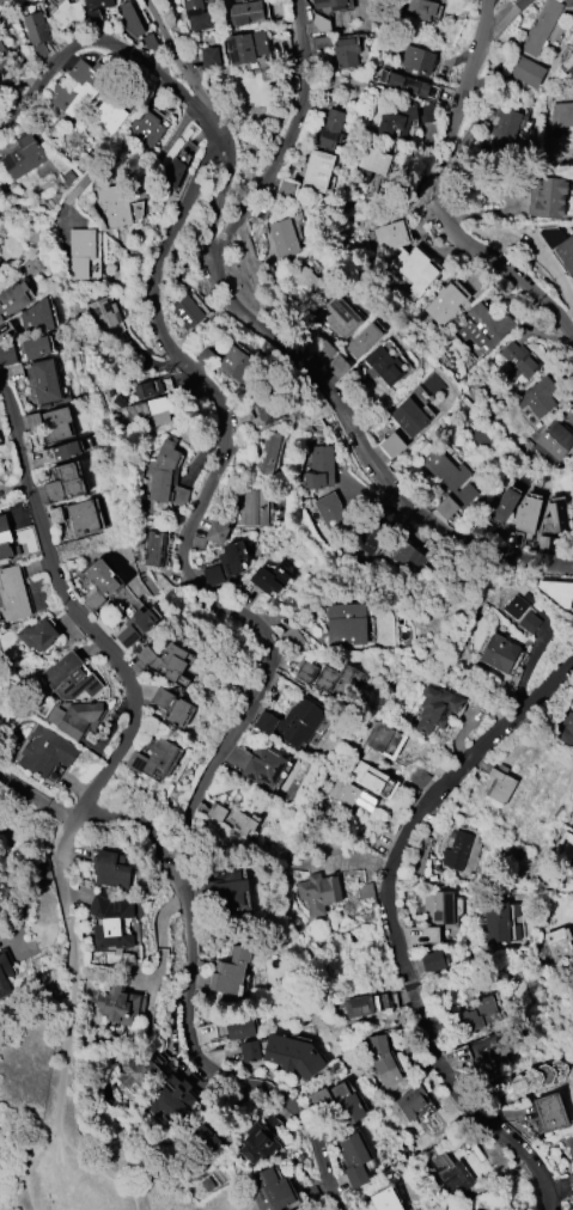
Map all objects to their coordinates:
building: (568, 2)
building: (98, 4)
building: (329, 5)
building: (419, 8)
building: (245, 12)
building: (67, 13)
building: (197, 16)
building: (130, 19)
building: (36, 27)
building: (540, 27)
road: (96, 39)
building: (245, 47)
building: (346, 50)
road: (182, 56)
building: (209, 57)
building: (5, 59)
building: (416, 60)
building: (571, 71)
building: (526, 72)
building: (409, 85)
building: (79, 86)
building: (109, 111)
building: (561, 115)
building: (402, 117)
building: (146, 128)
building: (329, 129)
building: (504, 129)
road: (285, 141)
building: (24, 157)
road: (130, 158)
building: (370, 164)
building: (172, 171)
building: (316, 171)
road: (441, 194)
building: (545, 196)
building: (114, 206)
building: (389, 236)
building: (282, 237)
building: (80, 252)
building: (566, 253)
building: (414, 269)
building: (305, 276)
building: (13, 298)
building: (444, 304)
building: (188, 312)
building: (104, 313)
building: (341, 317)
building: (36, 318)
building: (1, 319)
building: (481, 326)
building: (362, 341)
building: (35, 347)
building: (7, 356)
building: (518, 361)
building: (238, 365)
building: (383, 366)
building: (44, 381)
road: (325, 384)
building: (146, 389)
building: (537, 397)
building: (267, 409)
building: (150, 411)
building: (409, 417)
building: (56, 423)
building: (553, 440)
building: (392, 445)
building: (66, 450)
building: (266, 452)
building: (319, 467)
building: (161, 471)
building: (447, 482)
building: (63, 484)
building: (501, 506)
building: (254, 507)
road: (199, 508)
building: (331, 514)
building: (525, 515)
building: (555, 517)
building: (83, 518)
building: (572, 524)
building: (217, 531)
building: (5, 538)
building: (154, 548)
building: (403, 555)
building: (231, 557)
building: (269, 579)
building: (99, 582)
building: (557, 591)
building: (13, 594)
building: (249, 594)
building: (516, 607)
building: (530, 622)
building: (346, 624)
building: (135, 627)
building: (38, 635)
building: (499, 653)
building: (145, 655)
road: (120, 661)
building: (172, 661)
building: (69, 678)
building: (339, 682)
building: (170, 705)
building: (435, 709)
building: (74, 716)
building: (298, 722)
building: (567, 729)
building: (378, 737)
building: (47, 751)
building: (152, 757)
building: (263, 765)
building: (372, 780)
building: (499, 783)
building: (349, 795)
road: (37, 800)
road: (135, 817)
building: (244, 825)
building: (563, 848)
building: (456, 850)
building: (420, 856)
building: (110, 869)
building: (227, 888)
road: (481, 891)
building: (317, 893)
building: (443, 907)
building: (110, 922)
building: (496, 923)
road: (396, 925)
building: (559, 943)
building: (432, 961)
building: (5, 971)
building: (230, 972)
building: (118, 1006)
building: (358, 1007)
building: (478, 1015)
building: (239, 1028)
road: (69, 1046)
building: (483, 1049)
building: (249, 1051)
building: (292, 1056)
building: (382, 1061)
road: (205, 1065)
building: (133, 1069)
building: (516, 1086)
building: (170, 1096)
building: (410, 1101)
building: (346, 1105)
building: (550, 1112)
building: (206, 1138)
building: (257, 1144)
park: (77, 1147)
building: (355, 1159)
road: (103, 1173)
building: (451, 1174)
road: (29, 1179)
building: (571, 1181)
building: (270, 1191)
building: (385, 1200)

